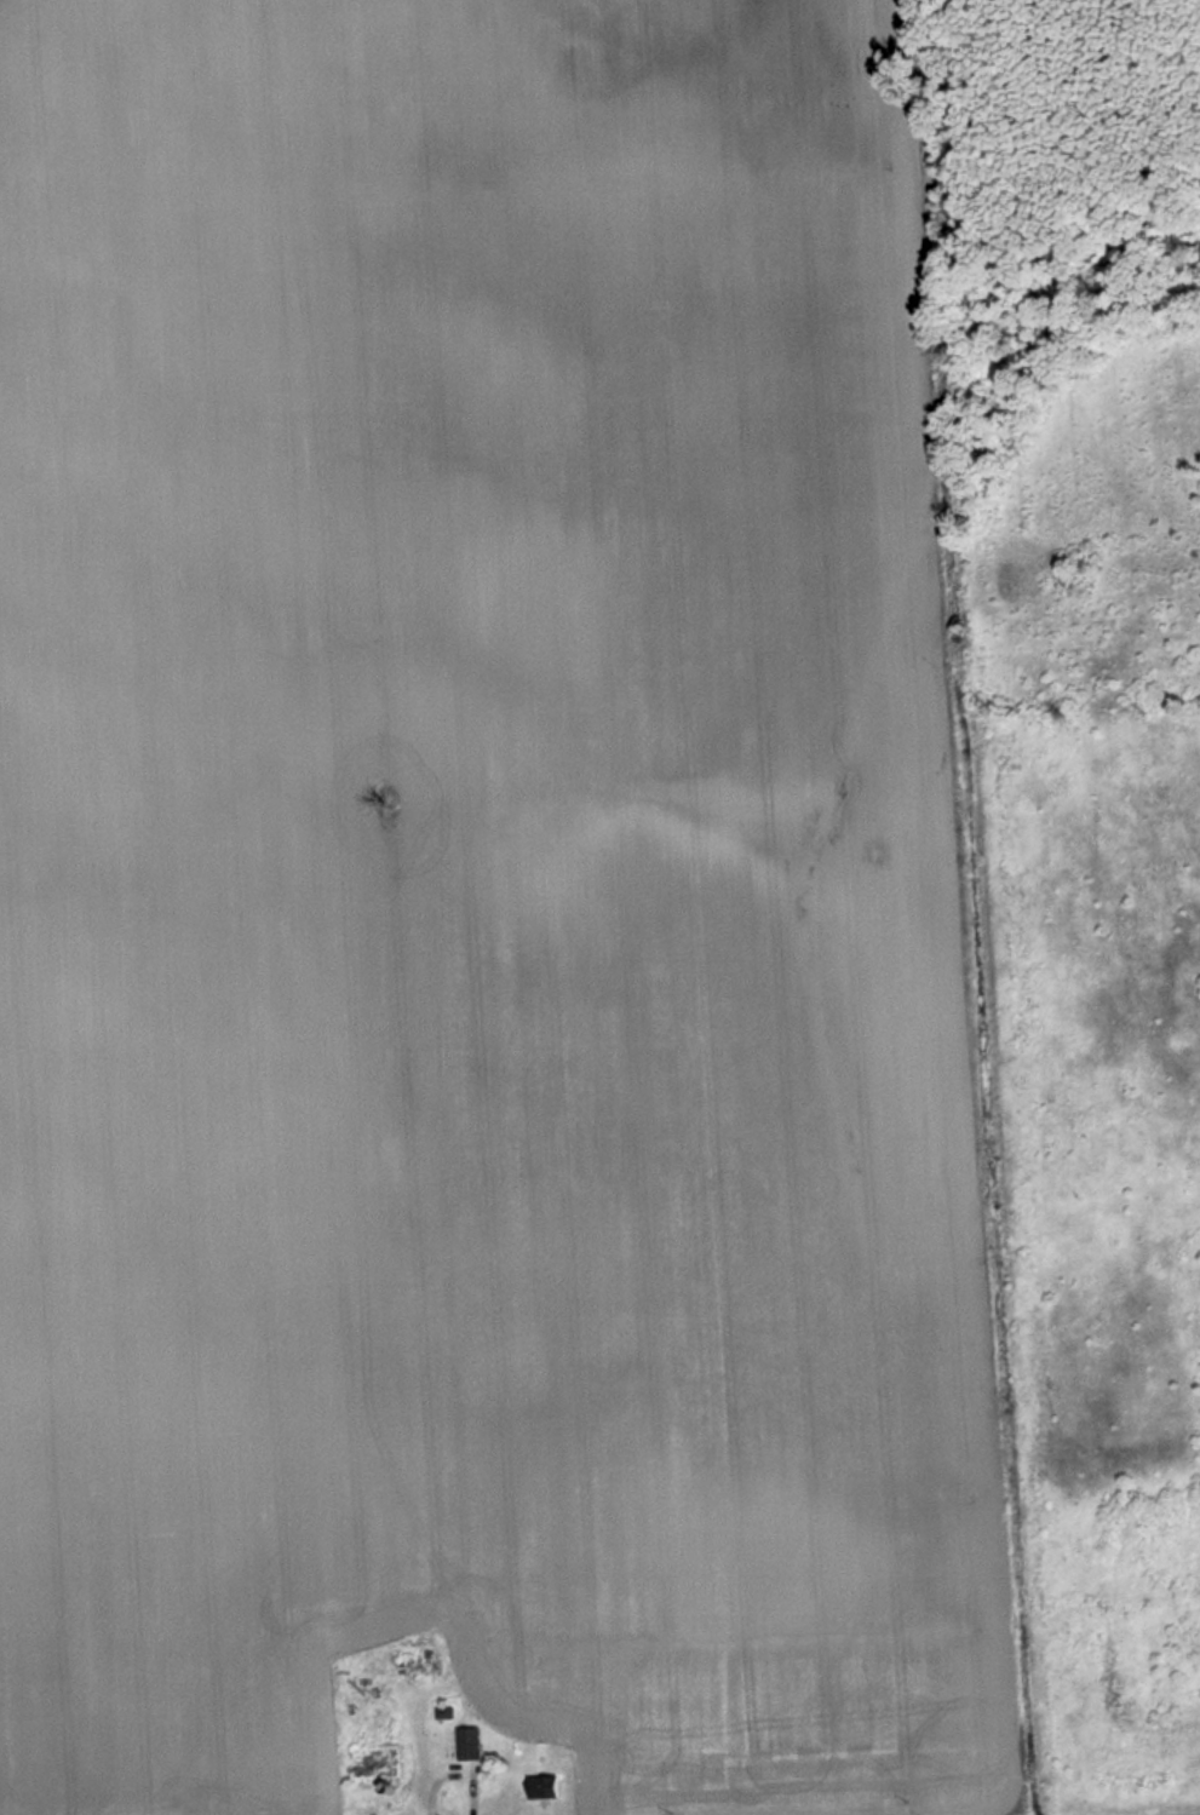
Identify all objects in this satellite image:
building: (412, 1664)
building: (472, 1747)
building: (549, 1790)

